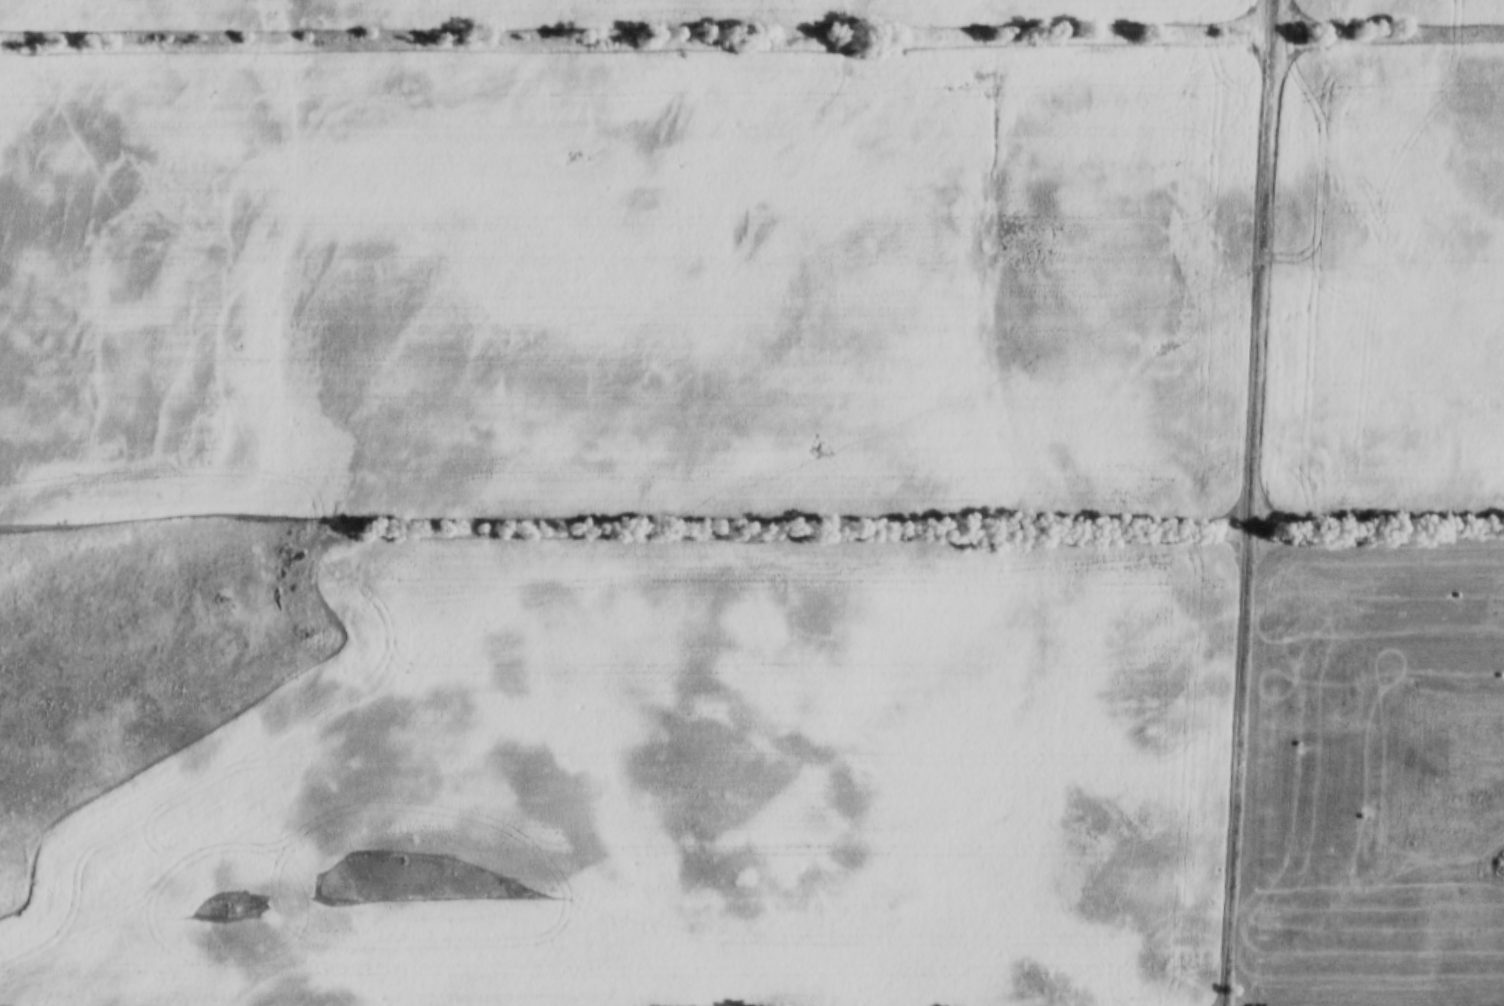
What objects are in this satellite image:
road: (1248, 502)

